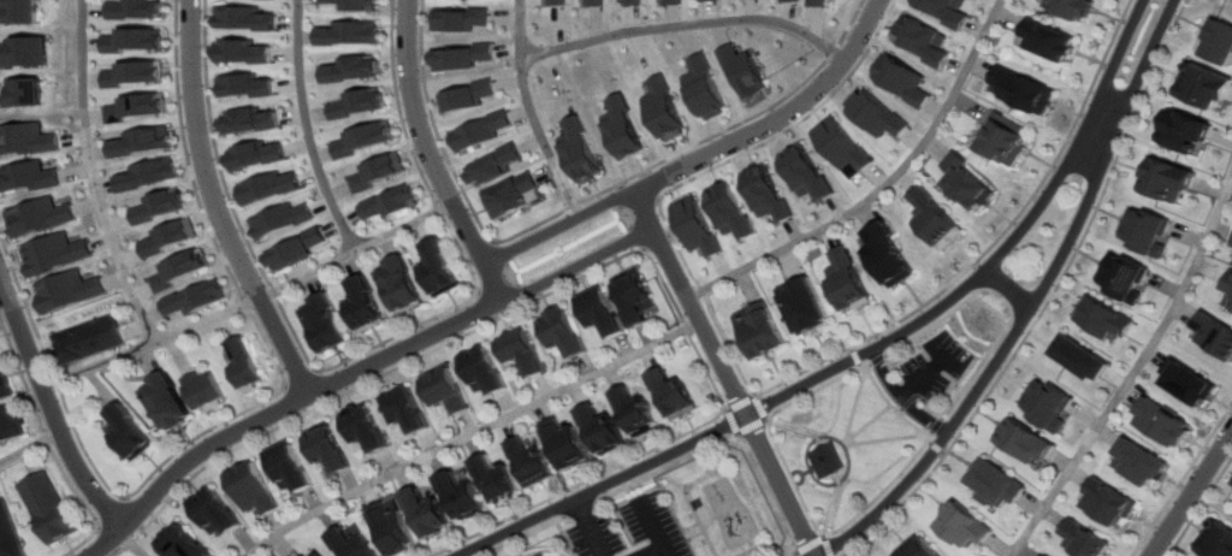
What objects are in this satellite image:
building: (709, 0)
building: (789, 0)
building: (556, 2)
building: (594, 2)
building: (633, 2)
building: (673, 2)
building: (815, 2)
building: (355, 5)
building: (134, 8)
building: (1072, 8)
building: (946, 11)
building: (20, 12)
building: (245, 18)
building: (457, 18)
road: (682, 25)
building: (349, 32)
building: (134, 40)
building: (922, 40)
building: (1049, 40)
building: (1218, 41)
building: (26, 52)
building: (245, 52)
building: (461, 57)
road: (1115, 59)
road: (1143, 63)
building: (351, 69)
building: (744, 70)
building: (135, 72)
building: (904, 78)
building: (245, 85)
building: (1206, 85)
building: (704, 88)
building: (1021, 89)
building: (24, 93)
building: (466, 96)
building: (356, 103)
building: (136, 107)
building: (664, 107)
road: (526, 112)
building: (878, 114)
road: (777, 119)
building: (251, 120)
road: (1106, 124)
building: (623, 129)
road: (306, 130)
building: (479, 130)
building: (1190, 132)
building: (28, 138)
building: (363, 140)
building: (144, 141)
building: (1012, 141)
building: (843, 144)
building: (577, 149)
building: (259, 154)
road: (428, 156)
building: (493, 165)
building: (377, 172)
building: (810, 172)
building: (149, 175)
road: (701, 175)
building: (31, 176)
road: (96, 176)
building: (1175, 181)
building: (971, 182)
road: (650, 185)
building: (269, 188)
road: (882, 188)
building: (770, 193)
road: (616, 194)
building: (510, 195)
road: (577, 200)
road: (1046, 200)
building: (390, 202)
road: (219, 206)
building: (161, 207)
building: (734, 211)
building: (41, 215)
road: (621, 218)
building: (938, 218)
building: (283, 219)
road: (1082, 219)
road: (556, 224)
building: (697, 226)
building: (1153, 231)
building: (171, 237)
road: (636, 237)
road: (657, 239)
road: (993, 248)
building: (297, 249)
road: (476, 250)
road: (644, 250)
building: (55, 253)
road: (494, 253)
building: (892, 254)
road: (574, 265)
building: (434, 270)
building: (180, 271)
road: (510, 272)
building: (1130, 277)
building: (851, 279)
building: (398, 286)
road: (1009, 289)
building: (70, 290)
road: (516, 295)
building: (1228, 296)
building: (196, 297)
building: (633, 297)
road: (248, 302)
road: (1049, 303)
building: (807, 304)
road: (482, 306)
building: (363, 307)
road: (997, 310)
building: (600, 313)
building: (1106, 317)
building: (322, 324)
building: (762, 331)
building: (1215, 332)
building: (558, 335)
building: (89, 341)
road: (440, 344)
building: (516, 351)
road: (357, 353)
building: (0, 357)
building: (1083, 357)
road: (882, 359)
building: (241, 362)
road: (873, 365)
parking lot: (940, 366)
building: (481, 372)
road: (722, 374)
road: (926, 377)
road: (1136, 377)
building: (1190, 383)
building: (4, 386)
building: (200, 389)
building: (444, 390)
building: (668, 394)
road: (907, 398)
road: (736, 401)
building: (164, 402)
building: (1049, 403)
road: (860, 406)
road: (48, 407)
road: (758, 407)
road: (278, 409)
road: (241, 410)
building: (404, 413)
building: (629, 413)
road: (727, 420)
building: (11, 422)
road: (727, 422)
building: (1166, 422)
road: (875, 424)
road: (940, 426)
road: (750, 427)
road: (793, 427)
building: (599, 430)
building: (366, 431)
building: (124, 432)
road: (467, 433)
road: (722, 437)
road: (892, 438)
building: (1029, 440)
road: (934, 442)
road: (43, 445)
building: (564, 448)
road: (729, 448)
road: (941, 448)
road: (942, 448)
road: (29, 449)
building: (326, 451)
building: (830, 460)
road: (916, 462)
building: (1142, 462)
building: (532, 465)
building: (288, 469)
road: (805, 472)
road: (800, 473)
road: (813, 474)
road: (665, 479)
road: (1181, 480)
building: (496, 481)
road: (579, 484)
building: (999, 484)
building: (247, 490)
road: (741, 492)
road: (1191, 495)
building: (461, 498)
building: (1112, 502)
road: (1213, 502)
road: (1200, 507)
building: (45, 508)
road: (834, 508)
road: (576, 509)
building: (207, 514)
building: (426, 516)
road: (693, 521)
road: (646, 526)
building: (967, 526)
road: (586, 527)
parking lot: (626, 531)
building: (390, 532)
road: (687, 532)
building: (7, 533)
road: (521, 536)
road: (564, 538)
building: (1085, 539)
building: (1216, 540)
road: (129, 542)
building: (174, 543)
road: (806, 543)
building: (349, 545)
road: (777, 545)
road: (827, 545)
building: (930, 549)
road: (645, 551)
building: (315, 554)
road: (792, 554)
building: (300, 555)
building: (541, 555)
building: (1046, 555)

